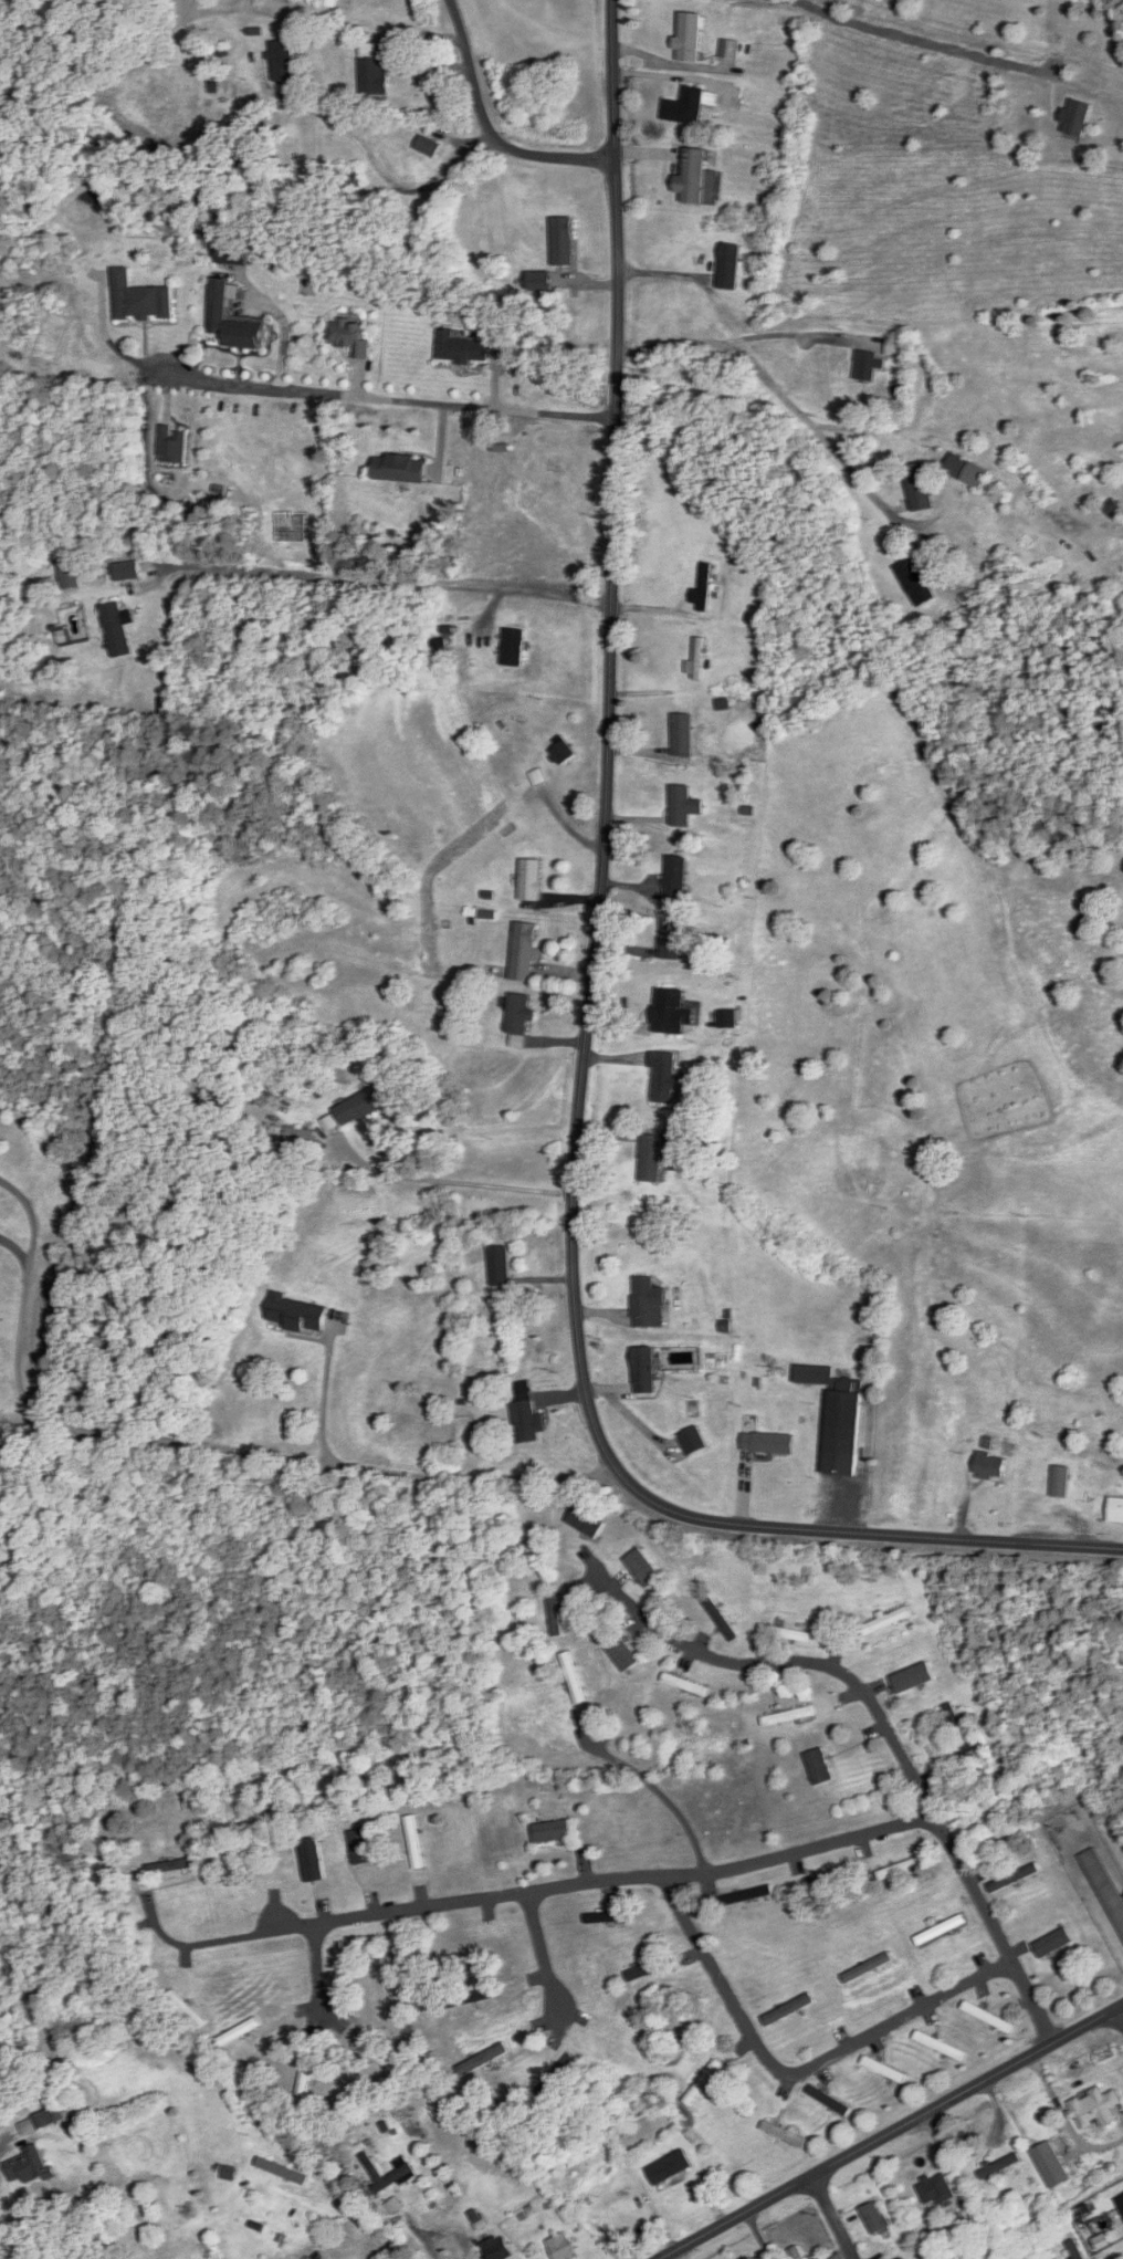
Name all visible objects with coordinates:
building: (330, 3)
building: (316, 18)
building: (690, 36)
building: (730, 49)
building: (283, 61)
building: (374, 71)
building: (686, 107)
road: (489, 134)
building: (429, 146)
road: (372, 161)
building: (696, 177)
building: (351, 180)
building: (563, 241)
building: (233, 254)
building: (730, 266)
building: (141, 300)
building: (233, 322)
building: (350, 337)
building: (462, 348)
building: (895, 348)
building: (867, 366)
road: (374, 397)
road: (794, 412)
building: (401, 469)
building: (968, 471)
building: (920, 488)
building: (127, 572)
road: (375, 581)
building: (916, 583)
building: (704, 589)
building: (117, 630)
building: (514, 648)
building: (696, 661)
building: (683, 735)
building: (563, 754)
building: (684, 806)
building: (676, 876)
building: (532, 881)
building: (671, 940)
building: (524, 952)
road: (589, 1002)
building: (672, 1013)
building: (519, 1015)
building: (727, 1019)
building: (665, 1078)
building: (363, 1106)
building: (653, 1159)
road: (449, 1180)
building: (501, 1267)
building: (649, 1304)
building: (298, 1315)
building: (646, 1370)
road: (324, 1404)
building: (840, 1418)
building: (528, 1419)
building: (694, 1441)
building: (768, 1443)
road: (198, 1446)
building: (991, 1465)
building: (1061, 1482)
building: (1116, 1509)
building: (587, 1523)
building: (644, 1568)
building: (556, 1613)
building: (888, 1621)
building: (787, 1633)
building: (622, 1652)
building: (914, 1677)
building: (574, 1678)
building: (686, 1685)
building: (789, 1716)
building: (958, 1728)
road: (891, 1738)
building: (820, 1767)
road: (669, 1799)
building: (554, 1831)
building: (416, 1842)
building: (361, 1847)
building: (312, 1859)
building: (176, 1865)
building: (900, 1869)
building: (1015, 1878)
road: (600, 1880)
building: (1105, 1885)
building: (820, 1886)
building: (747, 1895)
building: (609, 1916)
building: (942, 1929)
building: (1054, 1943)
road: (193, 1944)
building: (477, 1949)
road: (543, 1952)
building: (869, 1967)
building: (652, 1968)
road: (317, 1970)
building: (591, 1980)
building: (790, 2009)
building: (989, 2017)
road: (1121, 2017)
building: (239, 2032)
building: (941, 2046)
building: (484, 2059)
road: (796, 2067)
building: (885, 2069)
building: (557, 2075)
building: (704, 2082)
building: (304, 2088)
building: (831, 2100)
building: (1096, 2108)
building: (621, 2133)
building: (786, 2134)
road: (895, 2134)
building: (1001, 2165)
building: (1052, 2165)
building: (29, 2166)
building: (283, 2172)
building: (400, 2174)
building: (940, 2187)
building: (877, 2217)
road: (835, 2219)
road: (437, 2231)
road: (758, 2237)
building: (498, 2248)
building: (563, 2248)
building: (799, 2252)
building: (994, 2252)
building: (1056, 2257)
building: (903, 2258)

